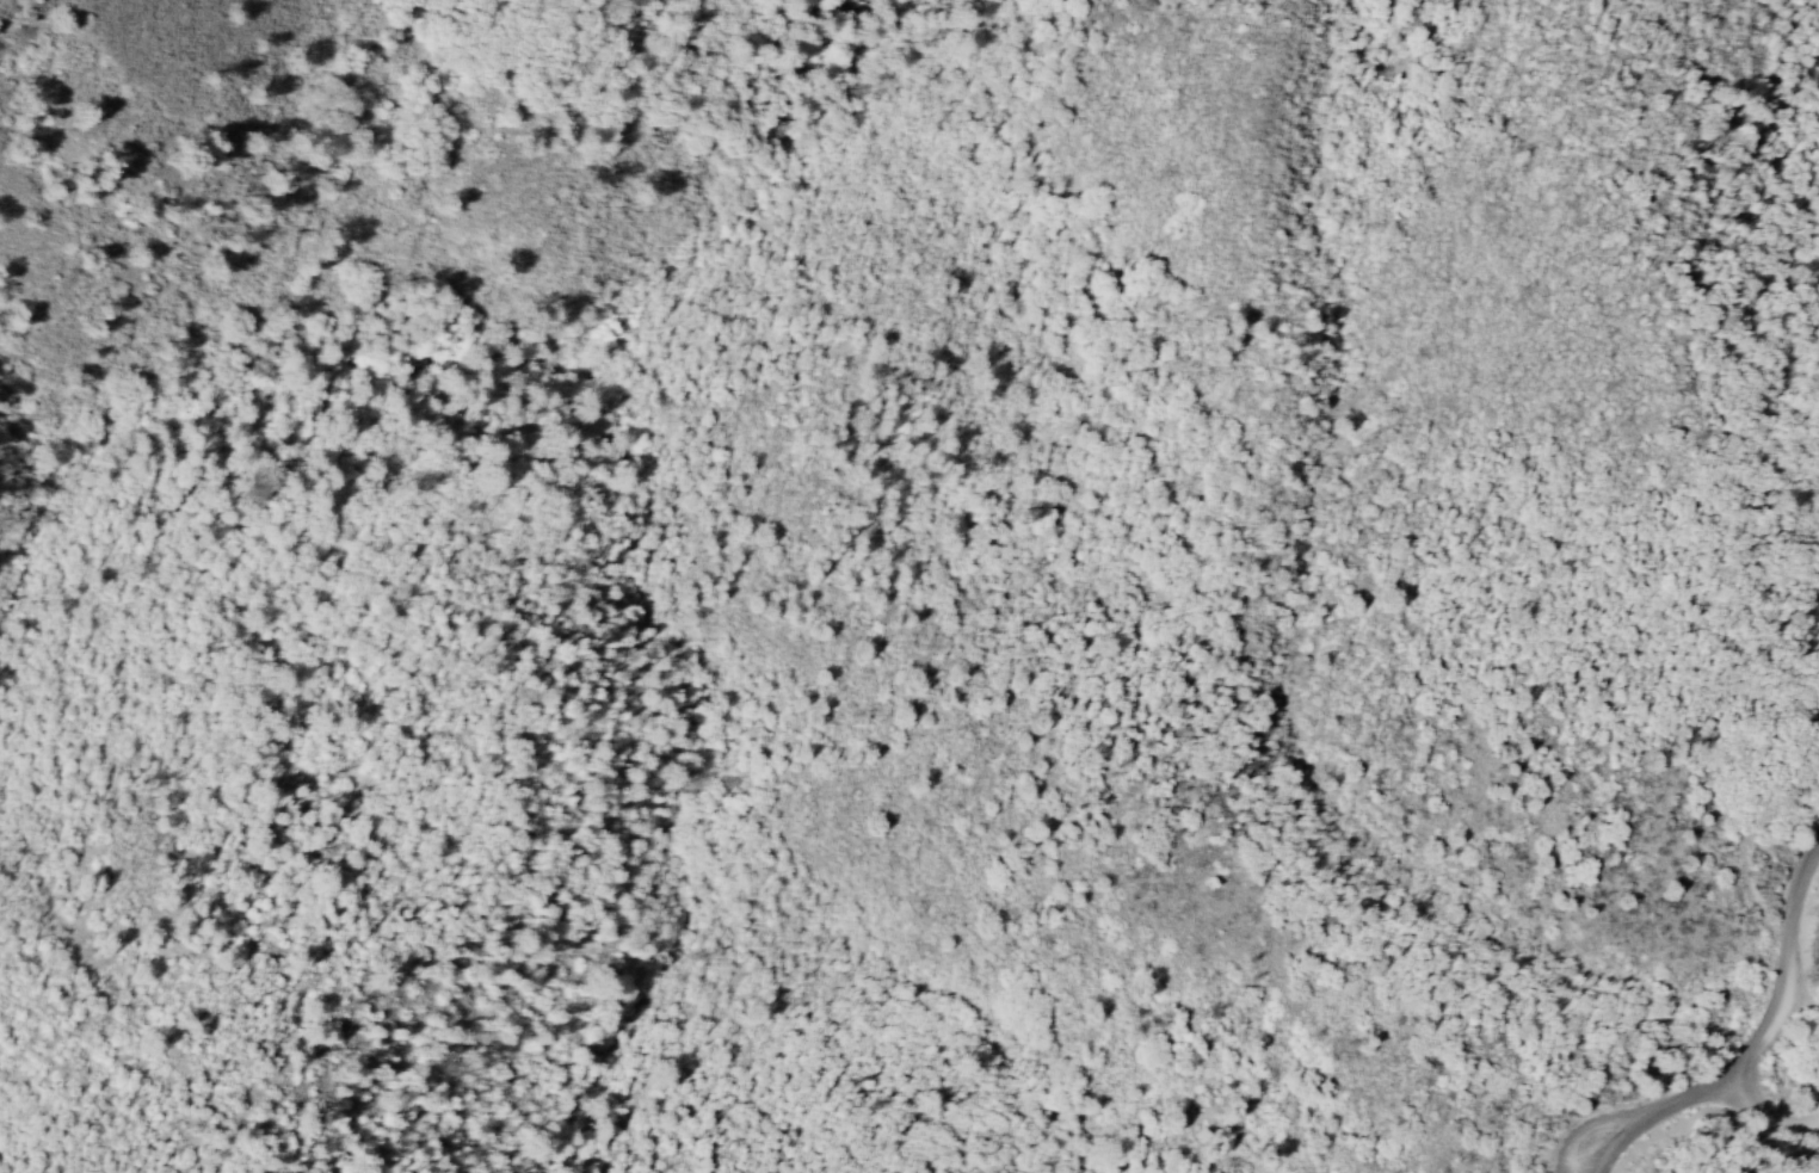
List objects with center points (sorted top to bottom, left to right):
road: (1786, 964)
road: (1777, 1099)
road: (1667, 1109)

